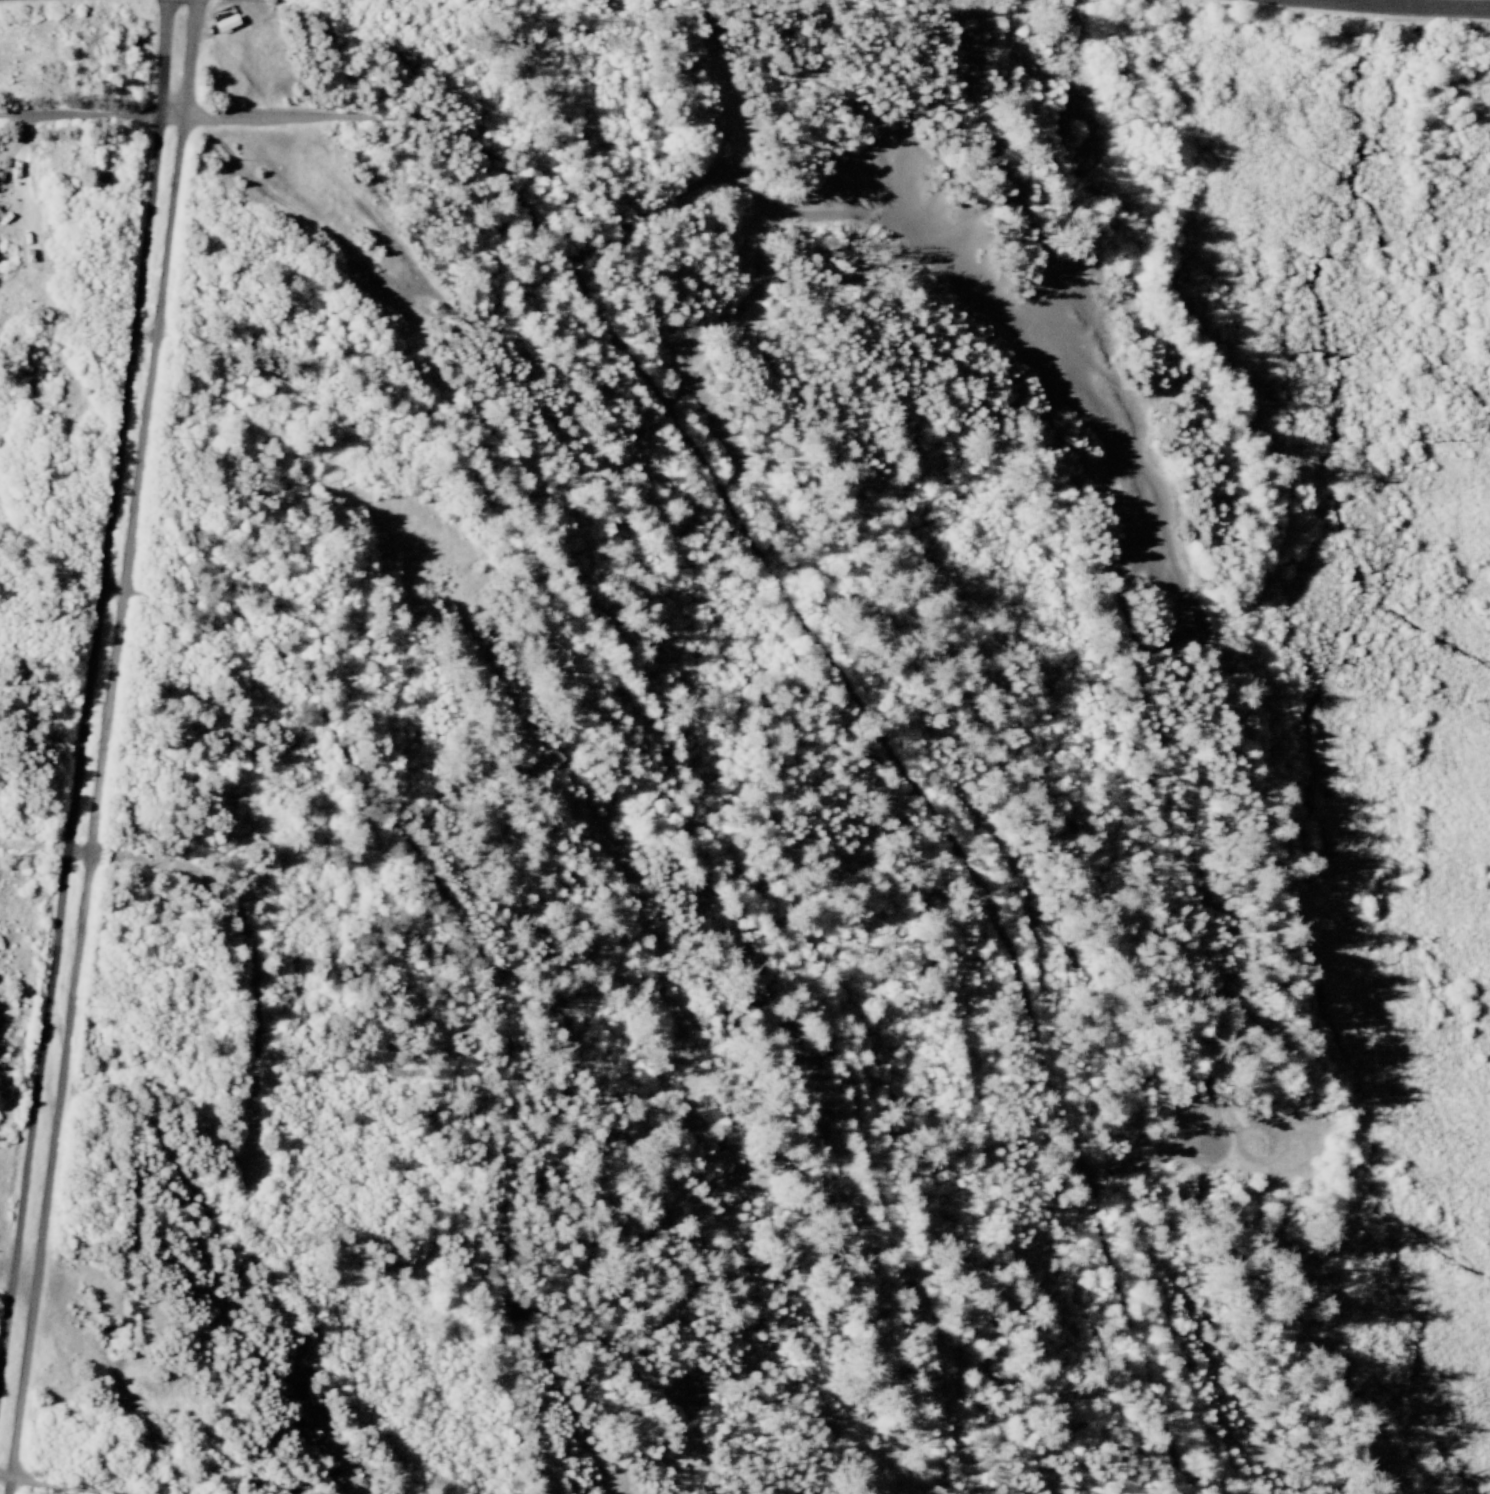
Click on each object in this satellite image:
road: (1408, 11)
road: (81, 116)
road: (1046, 243)
park: (860, 623)
road: (824, 644)
road: (91, 705)
road: (110, 747)
road: (684, 793)
road: (36, 847)
road: (252, 945)
road: (485, 946)
road: (1151, 1164)
road: (608, 1340)
road: (59, 1484)

